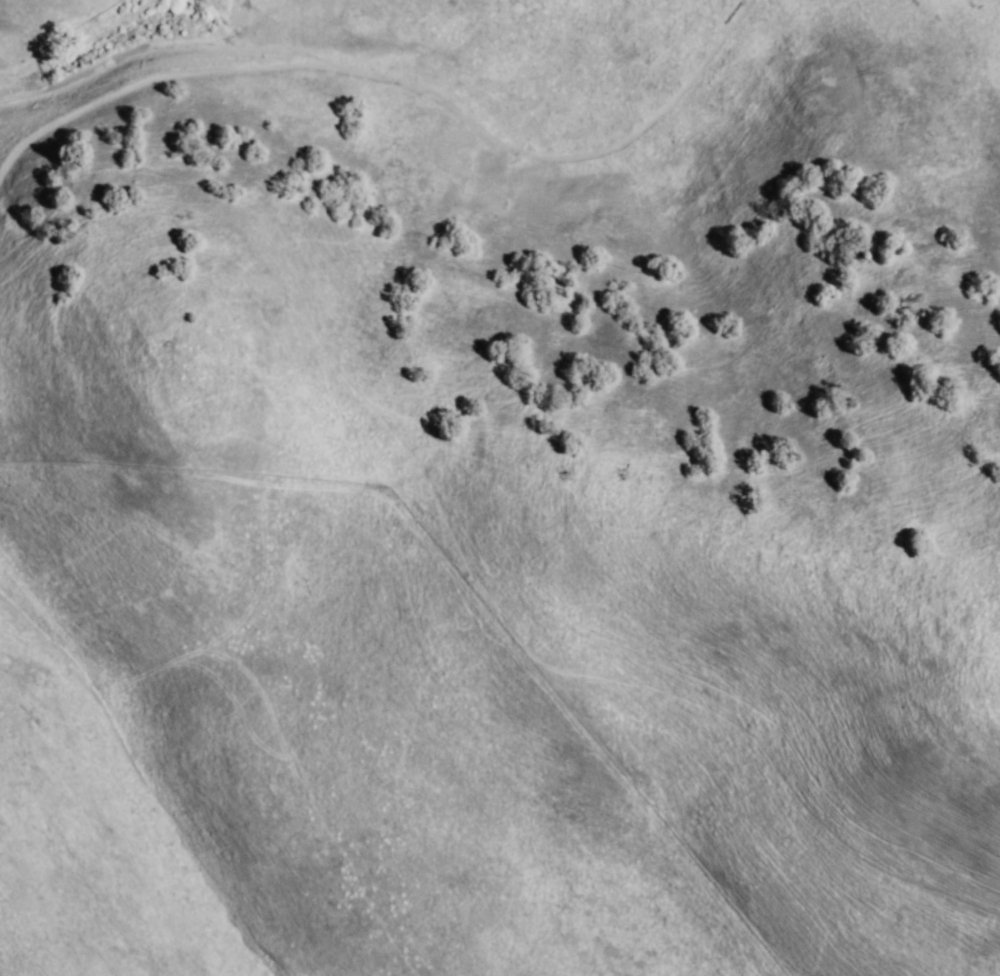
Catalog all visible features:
road: (996, 1)
road: (400, 86)

